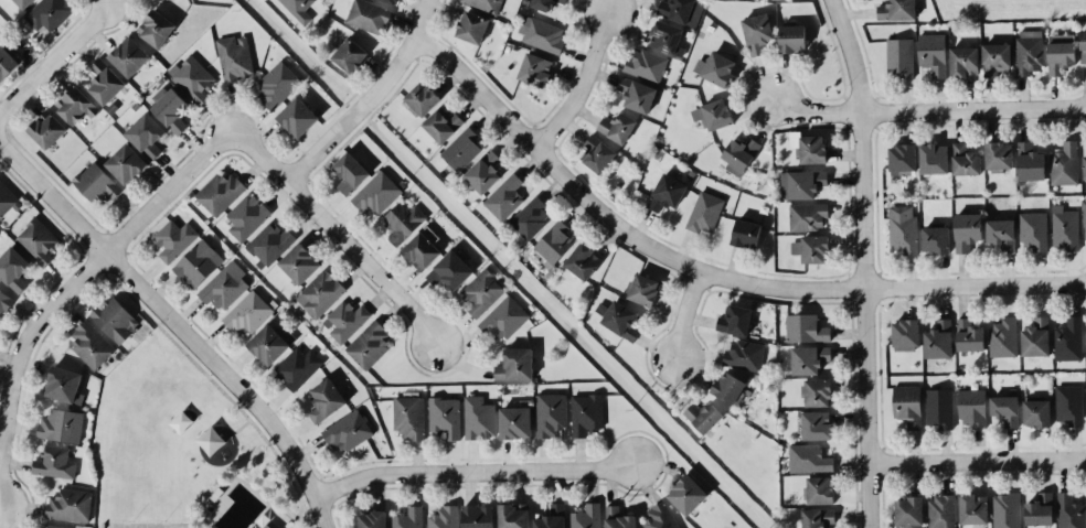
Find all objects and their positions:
building: (391, 1)
building: (562, 1)
building: (24, 2)
building: (486, 4)
building: (543, 4)
building: (299, 9)
building: (681, 10)
building: (897, 10)
building: (49, 13)
building: (369, 15)
building: (472, 26)
building: (156, 28)
building: (757, 32)
building: (542, 33)
building: (666, 36)
building: (792, 37)
building: (1083, 45)
building: (1029, 51)
building: (1061, 52)
building: (933, 53)
road: (54, 54)
building: (350, 54)
building: (129, 56)
building: (235, 56)
building: (899, 56)
building: (9, 57)
building: (997, 57)
building: (965, 61)
building: (646, 64)
building: (716, 67)
building: (535, 68)
building: (192, 77)
building: (105, 80)
road: (584, 82)
building: (277, 85)
building: (637, 94)
building: (423, 97)
road: (368, 98)
building: (75, 104)
building: (169, 108)
road: (933, 108)
building: (716, 114)
building: (298, 116)
building: (443, 125)
building: (617, 126)
building: (46, 128)
building: (147, 133)
building: (461, 148)
building: (812, 149)
building: (597, 152)
building: (739, 154)
building: (999, 154)
building: (903, 158)
building: (934, 158)
building: (966, 159)
building: (1030, 161)
building: (126, 163)
building: (1065, 163)
building: (1084, 165)
building: (483, 171)
building: (350, 172)
building: (96, 183)
building: (802, 183)
building: (220, 192)
building: (667, 192)
building: (377, 193)
building: (504, 196)
building: (6, 200)
building: (705, 212)
building: (246, 215)
building: (807, 215)
building: (530, 217)
building: (1084, 217)
building: (403, 220)
building: (1065, 227)
building: (903, 228)
building: (1033, 229)
building: (967, 230)
road: (337, 233)
building: (746, 233)
building: (1001, 233)
building: (174, 238)
building: (936, 238)
building: (38, 240)
building: (554, 241)
building: (270, 243)
building: (422, 248)
building: (811, 248)
building: (583, 260)
road: (865, 261)
building: (198, 262)
building: (299, 262)
building: (13, 268)
building: (450, 270)
road: (707, 270)
building: (224, 284)
road: (66, 289)
building: (643, 289)
building: (481, 291)
building: (320, 293)
building: (4, 301)
building: (247, 312)
road: (685, 315)
building: (504, 317)
building: (115, 319)
building: (735, 319)
building: (344, 320)
building: (621, 320)
road: (175, 324)
building: (806, 327)
road: (166, 333)
building: (906, 334)
building: (969, 335)
building: (1003, 336)
building: (1036, 336)
building: (939, 338)
building: (1068, 338)
building: (271, 342)
building: (91, 344)
building: (369, 344)
building: (745, 354)
building: (809, 358)
building: (515, 364)
building: (297, 366)
building: (65, 385)
building: (730, 386)
building: (818, 391)
building: (326, 399)
building: (1069, 403)
building: (907, 405)
building: (939, 407)
building: (972, 407)
building: (1005, 409)
building: (1036, 412)
building: (550, 413)
building: (586, 413)
building: (445, 416)
building: (703, 416)
building: (409, 417)
building: (479, 417)
building: (515, 421)
building: (61, 424)
building: (817, 424)
building: (348, 430)
park: (184, 449)
road: (978, 456)
building: (808, 457)
building: (55, 462)
road: (472, 470)
building: (819, 489)
building: (686, 494)
building: (70, 504)
building: (973, 508)
building: (1040, 509)
building: (941, 510)
building: (1007, 510)
building: (1069, 511)
building: (513, 515)
building: (478, 516)
building: (585, 516)
building: (660, 516)
building: (408, 517)
building: (444, 517)
building: (552, 517)
building: (818, 517)
building: (618, 518)
building: (372, 519)
building: (271, 524)
building: (54, 526)

